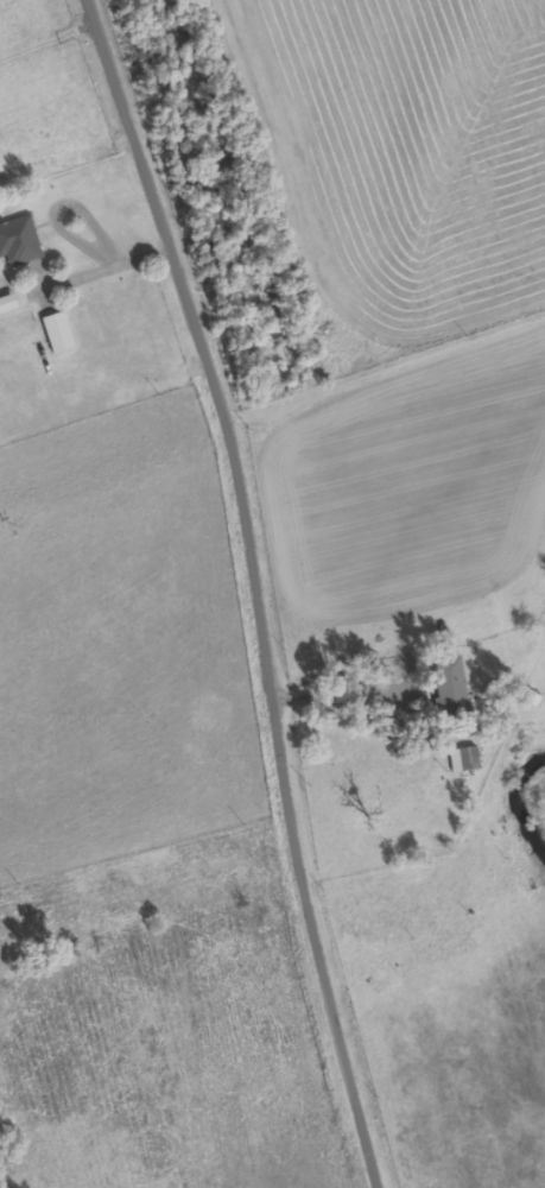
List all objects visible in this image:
building: (19, 241)
building: (58, 333)
road: (385, 371)
road: (254, 588)
building: (450, 688)
building: (464, 760)

